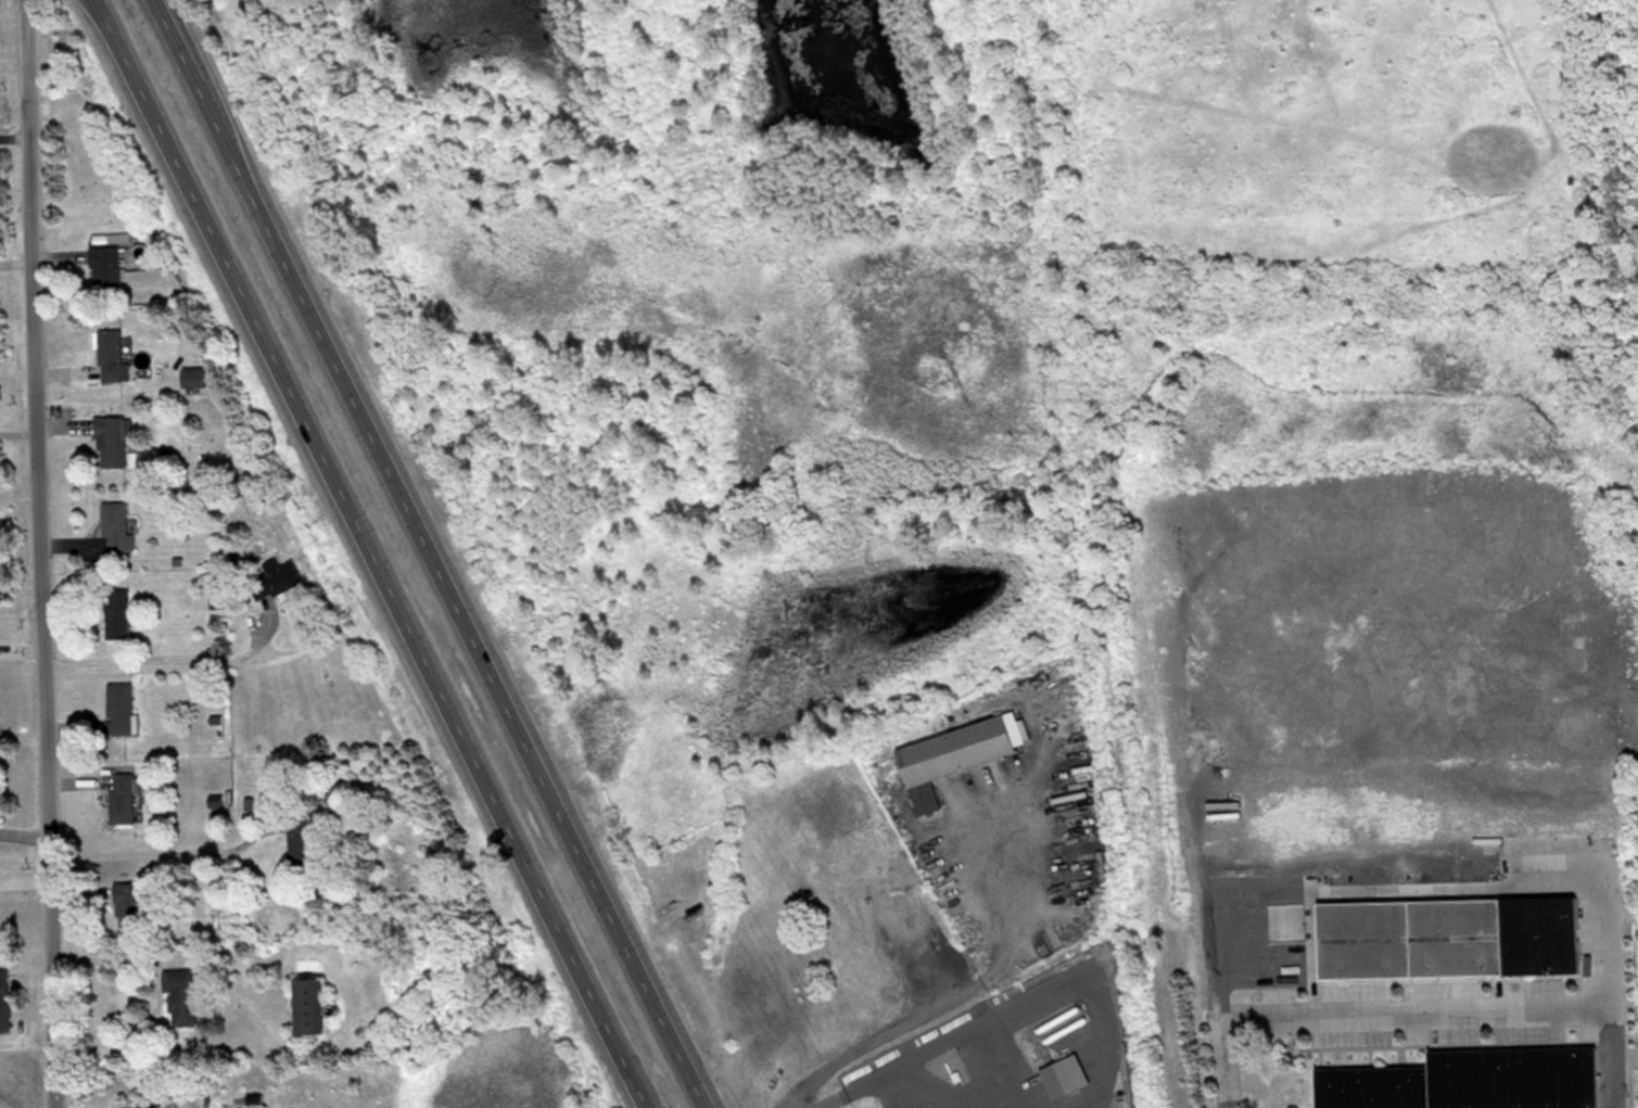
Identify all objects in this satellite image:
road: (189, 56)
building: (101, 269)
building: (1637, 273)
building: (110, 357)
building: (194, 378)
building: (109, 442)
building: (114, 528)
road: (38, 553)
road: (376, 553)
building: (274, 580)
road: (465, 610)
building: (115, 613)
road: (157, 661)
building: (117, 709)
building: (955, 755)
building: (119, 799)
building: (299, 840)
road: (160, 855)
road: (1229, 888)
building: (128, 904)
building: (1447, 938)
road: (951, 990)
building: (181, 997)
building: (3, 1002)
building: (307, 1005)
road: (1007, 1010)
road: (5, 1042)
road: (1608, 1058)
road: (1224, 1062)
building: (1063, 1075)
building: (1468, 1081)
road: (926, 1086)
road: (1002, 1098)
building: (139, 1106)

